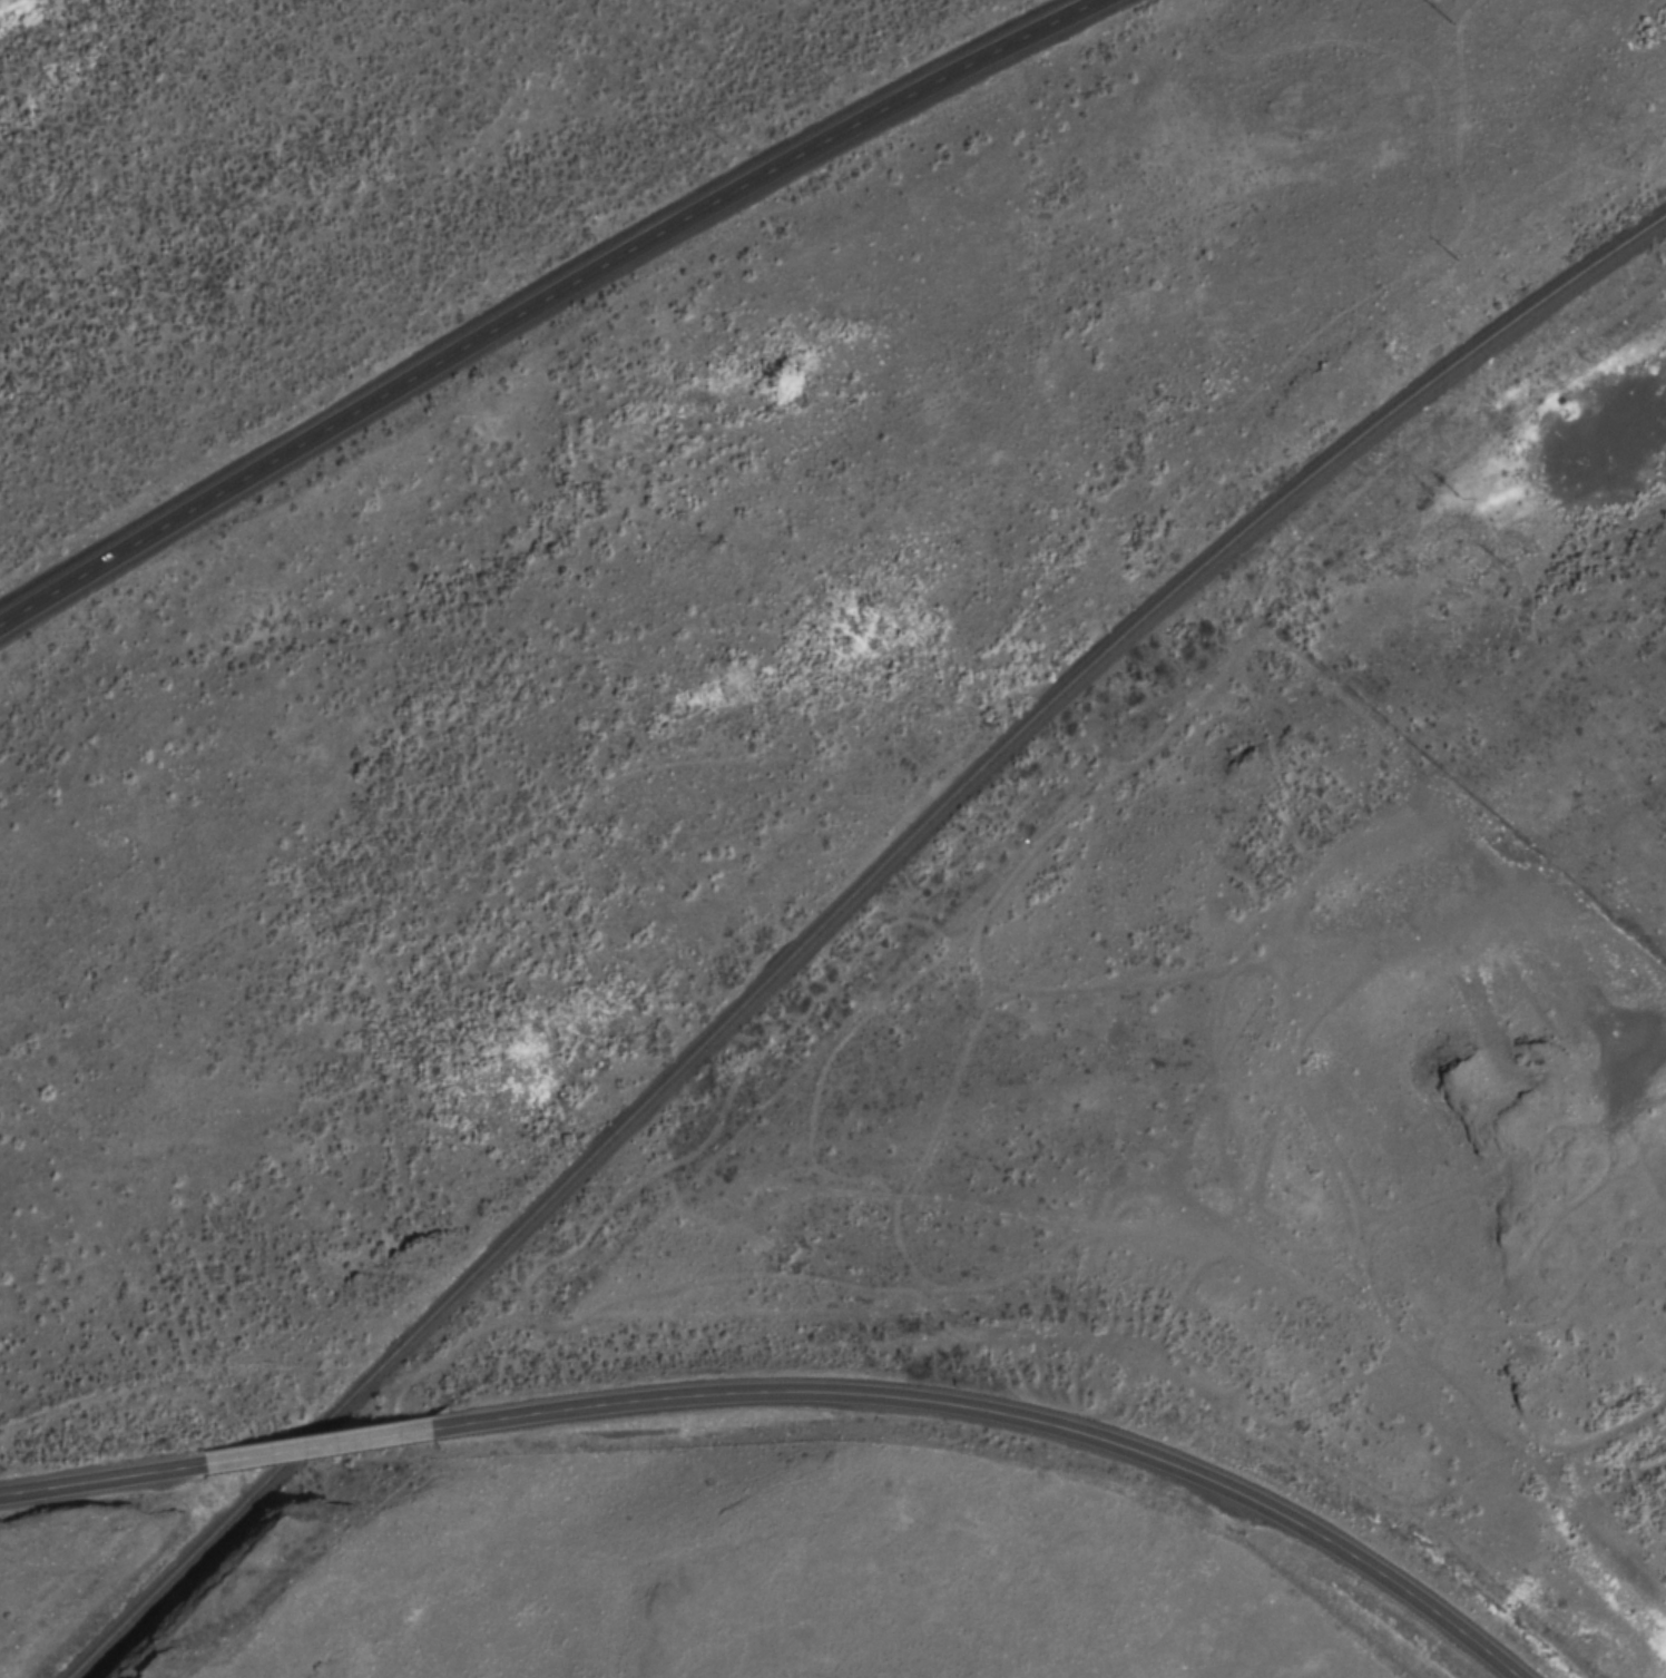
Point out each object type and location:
road: (542, 300)
railway: (836, 914)
road: (1340, 1090)
road: (921, 1396)
road: (318, 1443)
road: (101, 1475)
road: (1453, 1619)

